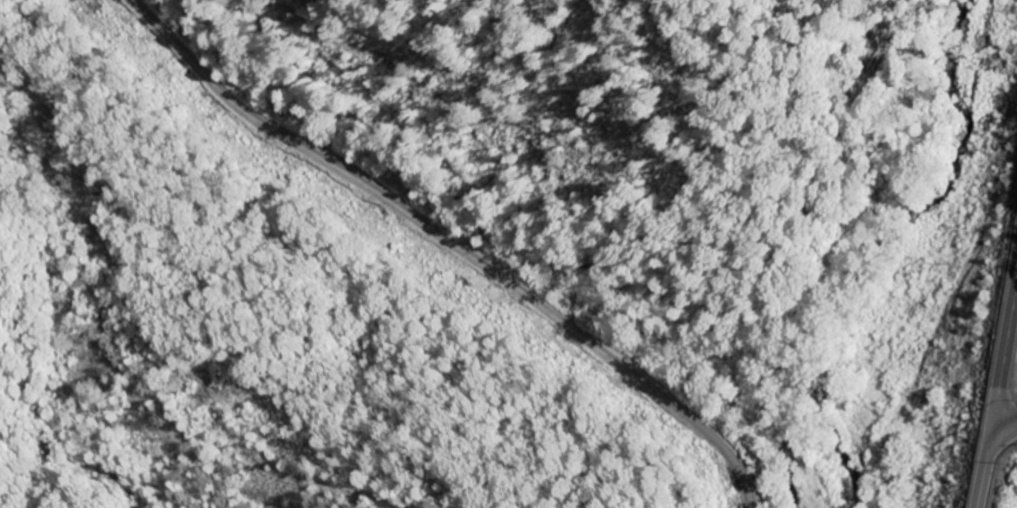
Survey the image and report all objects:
road: (997, 391)
road: (1004, 424)

